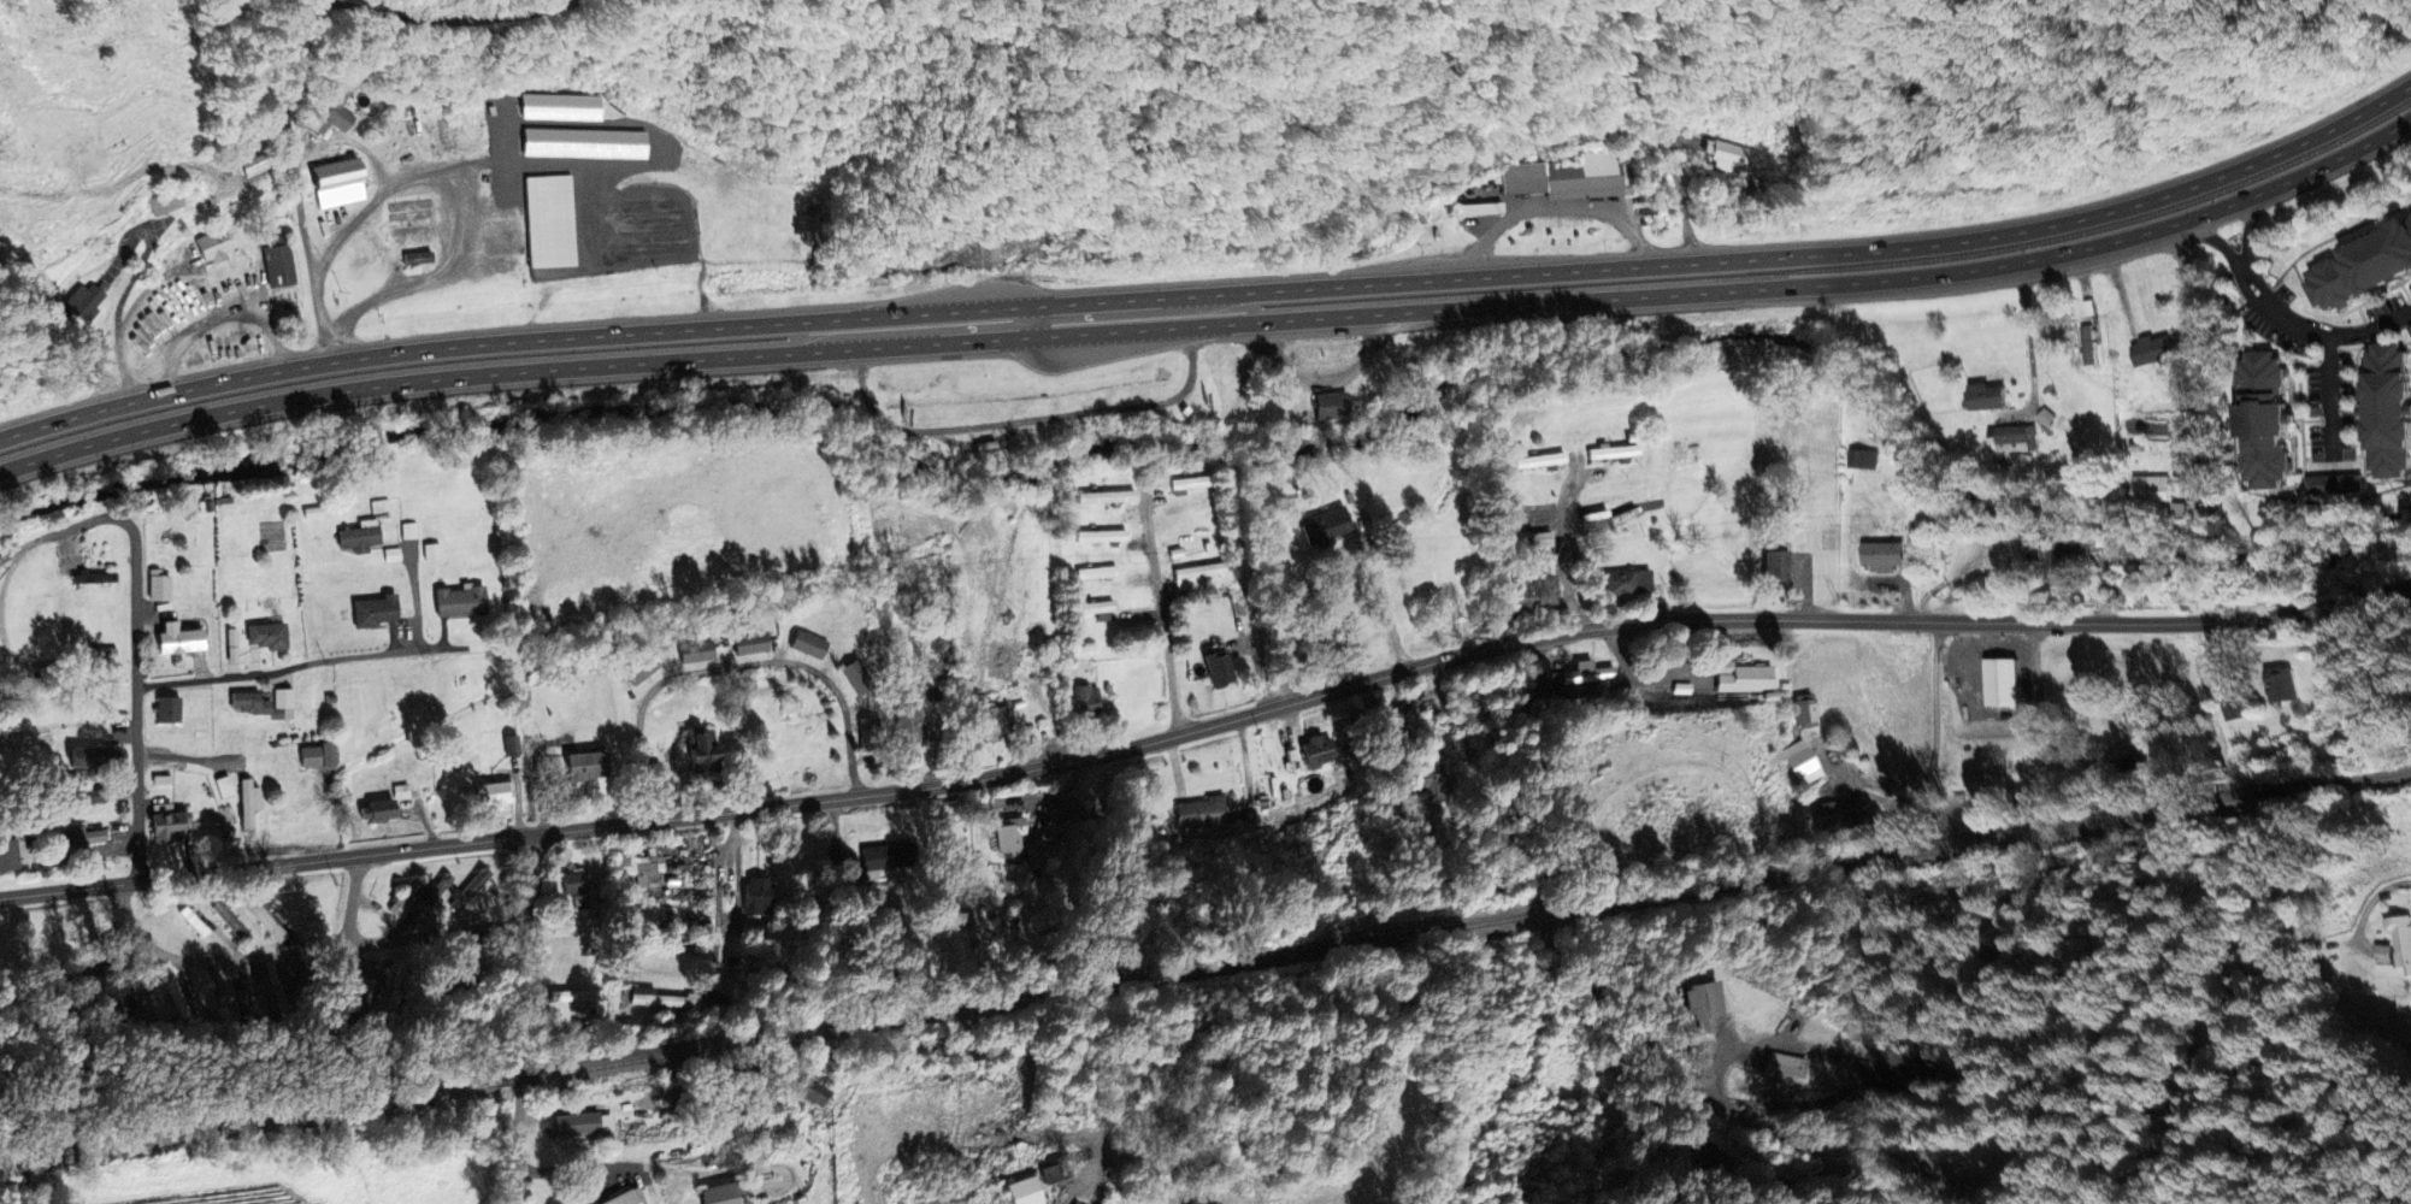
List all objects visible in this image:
road: (300, 52)
building: (560, 107)
building: (331, 113)
road: (352, 141)
road: (2292, 141)
building: (580, 143)
building: (1726, 155)
road: (467, 163)
road: (2301, 172)
building: (1567, 178)
building: (336, 183)
road: (1681, 191)
building: (547, 222)
road: (2247, 224)
road: (2216, 236)
building: (405, 237)
building: (211, 247)
building: (414, 259)
building: (2360, 265)
building: (278, 266)
road: (2247, 272)
road: (429, 275)
road: (2256, 288)
road: (1083, 301)
road: (125, 305)
building: (2409, 326)
road: (1091, 332)
road: (2332, 332)
building: (2085, 346)
building: (2147, 352)
road: (2330, 393)
building: (1980, 397)
building: (1327, 406)
building: (2382, 411)
building: (2042, 418)
building: (2258, 420)
building: (1611, 453)
building: (1858, 459)
building: (1537, 461)
building: (2330, 484)
building: (2147, 489)
building: (1103, 497)
building: (1324, 526)
road: (63, 527)
building: (355, 536)
building: (429, 551)
road: (1568, 553)
building: (1877, 556)
building: (2053, 560)
building: (1773, 567)
building: (1094, 572)
building: (1195, 573)
building: (1626, 583)
building: (158, 585)
road: (1397, 588)
building: (1534, 591)
road: (1255, 594)
building: (458, 601)
building: (1095, 609)
building: (371, 610)
road: (1165, 613)
road: (35, 625)
building: (265, 636)
building: (175, 638)
building: (748, 643)
building: (806, 643)
building: (230, 645)
building: (695, 651)
road: (733, 666)
building: (1216, 668)
building: (638, 669)
building: (1590, 674)
road: (1643, 674)
building: (855, 675)
building: (1743, 678)
road: (305, 680)
building: (1996, 683)
building: (2276, 684)
building: (1581, 691)
building: (1084, 700)
building: (260, 702)
building: (165, 709)
building: (2229, 709)
road: (135, 710)
building: (1806, 710)
building: (994, 721)
building: (906, 722)
road: (1207, 726)
building: (2138, 739)
building: (509, 745)
building: (700, 746)
building: (1313, 749)
building: (313, 755)
building: (93, 757)
road: (1929, 761)
building: (1805, 763)
building: (582, 765)
building: (1426, 777)
building: (223, 786)
building: (490, 793)
building: (88, 796)
building: (246, 804)
building: (377, 810)
building: (1198, 811)
building: (1828, 816)
building: (163, 825)
building: (81, 837)
building: (1008, 837)
building: (8, 855)
building: (877, 861)
building: (638, 867)
building: (572, 885)
building: (476, 886)
road: (2380, 887)
building: (436, 889)
road: (727, 889)
road: (358, 898)
building: (264, 920)
road: (440, 927)
building: (2399, 943)
building: (2378, 954)
road: (212, 961)
railway: (1205, 969)
road: (1603, 978)
building: (448, 979)
building: (235, 992)
building: (265, 995)
building: (564, 996)
building: (662, 999)
building: (1697, 1002)
building: (210, 1003)
road: (524, 1019)
building: (1784, 1069)
building: (810, 1091)
building: (582, 1123)
building: (1709, 1159)
building: (1018, 1191)
building: (715, 1193)
building: (623, 1197)
building: (1075, 1203)

